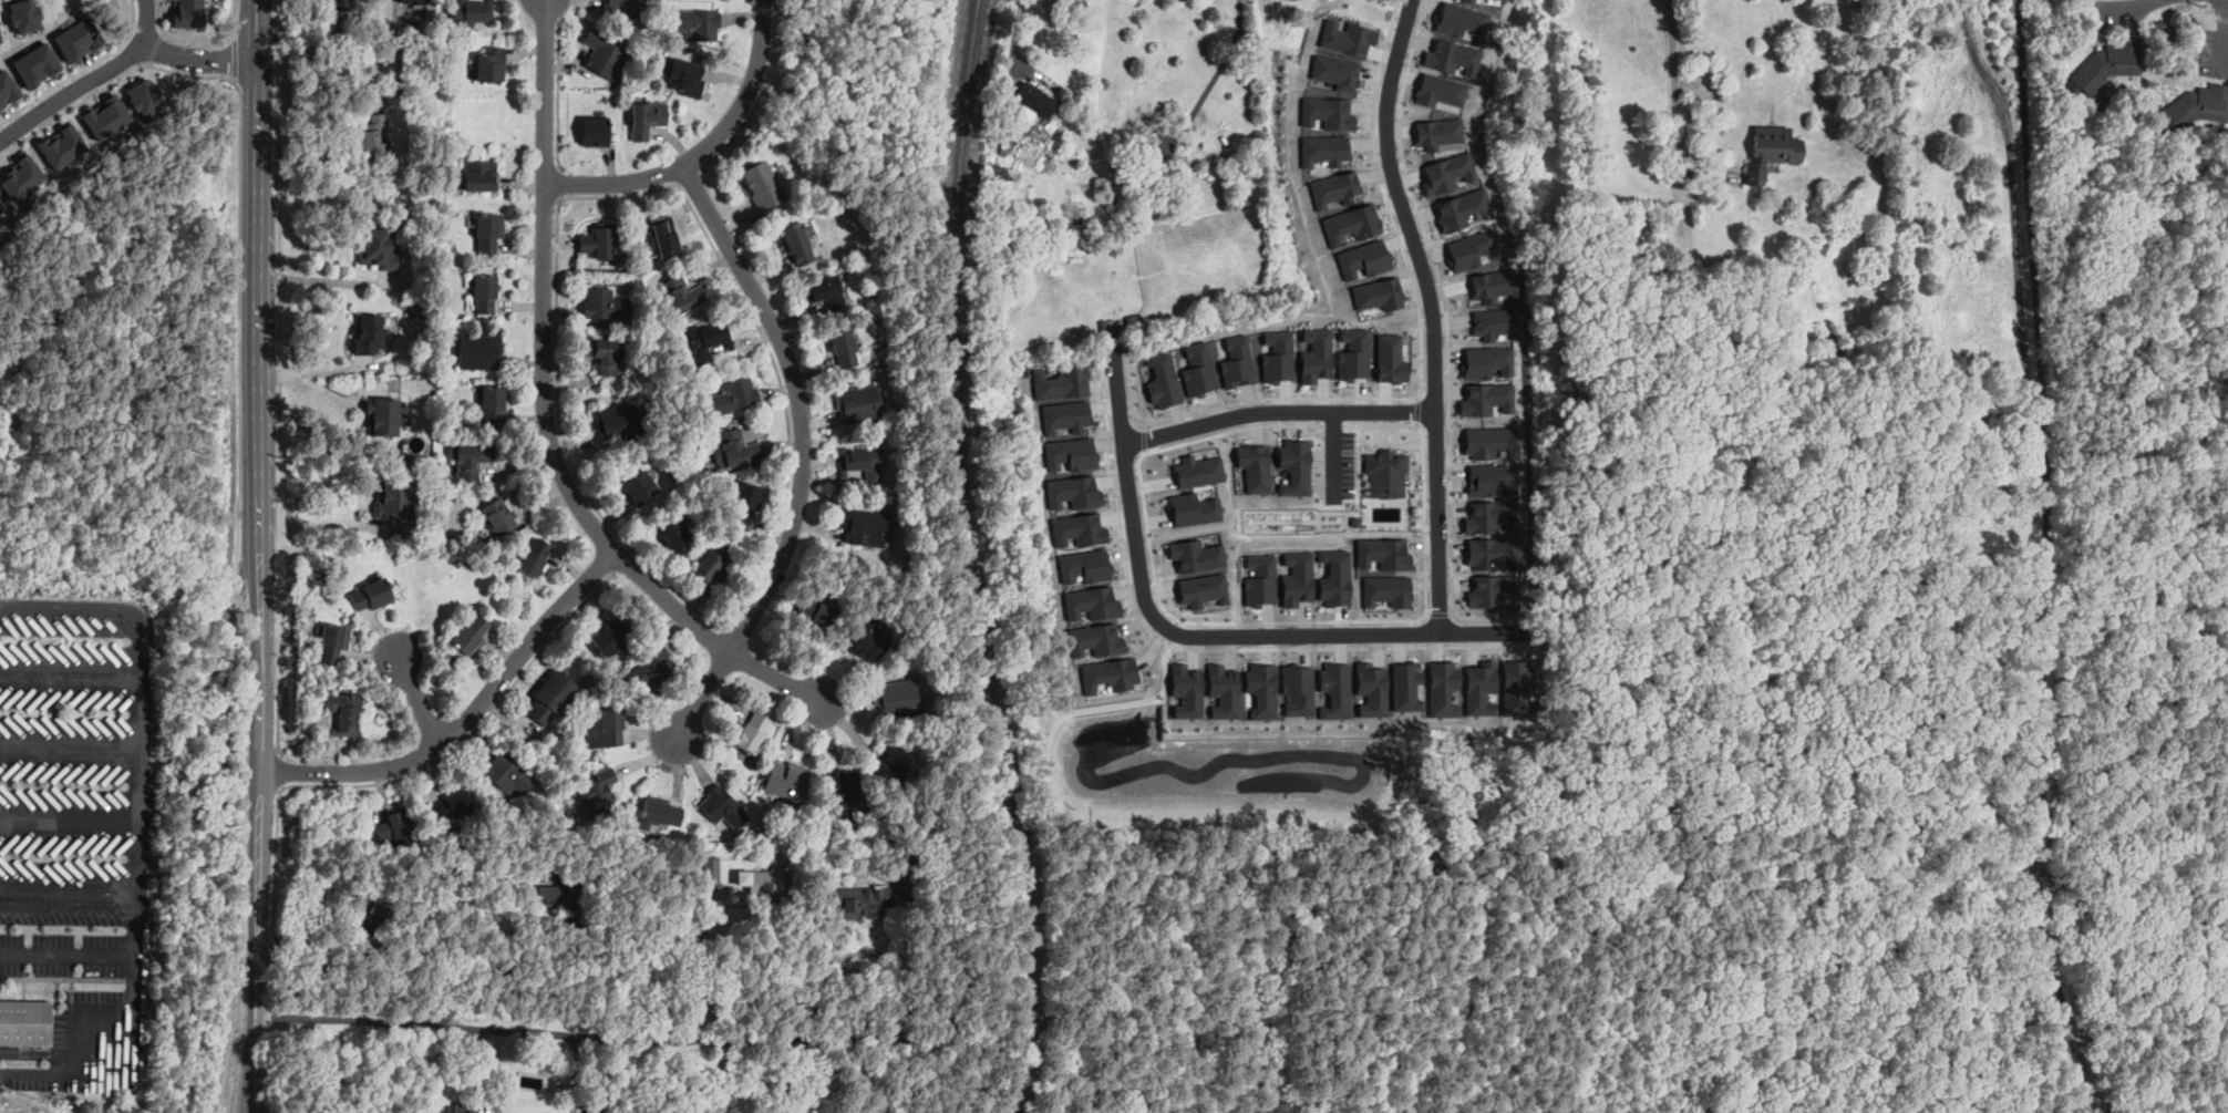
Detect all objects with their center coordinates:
building: (414, 1)
building: (1491, 1)
street lamp: (2197, 1)
street lamp: (2200, 4)
building: (341, 6)
road: (2122, 6)
building: (623, 9)
road: (2208, 10)
building: (471, 11)
road: (2185, 11)
building: (190, 13)
building: (27, 14)
road: (234, 17)
building: (1456, 17)
building: (697, 24)
road: (259, 30)
street lamp: (2129, 30)
road: (163, 33)
road: (234, 34)
building: (1349, 37)
building: (1, 38)
building: (79, 39)
road: (2222, 39)
road: (183, 40)
road: (155, 48)
building: (419, 48)
building: (602, 53)
building: (1446, 55)
road: (236, 56)
road: (1011, 56)
road: (198, 58)
street lamp: (2194, 62)
building: (39, 63)
road: (151, 63)
building: (491, 64)
building: (2107, 66)
road: (80, 70)
building: (1332, 70)
building: (687, 78)
road: (2211, 78)
road: (2217, 78)
road: (235, 79)
road: (90, 81)
road: (115, 81)
road: (1207, 84)
building: (7, 87)
building: (1437, 90)
building: (147, 94)
road: (761, 95)
building: (1035, 100)
building: (1322, 110)
building: (2193, 110)
building: (113, 115)
road: (1674, 115)
building: (647, 118)
building: (1815, 122)
building: (1436, 131)
building: (596, 132)
building: (370, 142)
building: (1003, 142)
building: (65, 144)
road: (705, 148)
building: (1323, 150)
building: (1772, 152)
building: (1003, 162)
building: (1240, 166)
building: (1447, 169)
building: (25, 174)
building: (479, 177)
road: (689, 177)
building: (1147, 178)
building: (283, 179)
building: (1329, 185)
building: (763, 186)
building: (1234, 195)
road: (2014, 200)
building: (3, 208)
building: (1459, 208)
building: (1348, 217)
building: (488, 233)
building: (661, 239)
building: (1075, 239)
building: (599, 241)
building: (796, 245)
building: (379, 247)
building: (1474, 247)
building: (1358, 256)
road: (313, 278)
building: (1487, 285)
building: (1767, 286)
building: (1373, 289)
building: (824, 292)
building: (484, 293)
building: (683, 295)
road: (259, 300)
building: (1721, 301)
building: (606, 305)
building: (1771, 306)
road: (1433, 310)
building: (1494, 320)
building: (1108, 328)
building: (368, 333)
building: (708, 340)
road: (2167, 342)
road: (766, 343)
building: (1829, 344)
building: (844, 347)
building: (1312, 349)
building: (1349, 349)
building: (479, 351)
road: (557, 352)
building: (601, 354)
building: (1275, 354)
building: (1386, 355)
building: (1236, 359)
building: (1484, 359)
building: (1197, 371)
building: (1061, 378)
building: (1161, 379)
building: (1483, 395)
building: (734, 396)
park: (1954, 399)
building: (858, 404)
building: (493, 405)
road: (1280, 412)
road: (544, 413)
building: (1064, 414)
building: (382, 418)
building: (617, 424)
building: (1492, 442)
building: (739, 449)
building: (1069, 449)
road: (804, 453)
building: (470, 460)
building: (862, 462)
parking lot: (1339, 462)
road: (279, 468)
building: (1249, 468)
building: (1293, 468)
building: (1198, 471)
building: (1385, 471)
road: (2000, 476)
building: (1492, 478)
building: (640, 488)
building: (1073, 488)
building: (394, 501)
building: (746, 502)
building: (1193, 508)
building: (1756, 512)
building: (1492, 516)
building: (499, 517)
road: (319, 522)
building: (865, 527)
building: (1080, 528)
building: (673, 535)
building: (1591, 543)
building: (1575, 545)
building: (1192, 553)
building: (1494, 553)
building: (1384, 554)
building: (534, 558)
railway: (970, 559)
road: (2044, 560)
building: (714, 565)
building: (1084, 565)
building: (1293, 576)
building: (1332, 576)
building: (1259, 577)
building: (1201, 589)
building: (1493, 589)
building: (1388, 590)
building: (371, 596)
building: (1091, 601)
road: (229, 604)
road: (68, 606)
building: (816, 611)
road: (1206, 633)
building: (471, 636)
building: (1095, 637)
building: (610, 638)
building: (866, 638)
building: (332, 643)
road: (136, 647)
building: (652, 668)
building: (1112, 671)
building: (1185, 686)
building: (1223, 686)
building: (1407, 686)
building: (1261, 687)
building: (1481, 687)
building: (1516, 687)
building: (1444, 688)
building: (1298, 689)
building: (1331, 689)
building: (1372, 689)
building: (553, 698)
building: (897, 699)
road: (420, 700)
building: (344, 713)
road: (486, 717)
road: (467, 718)
building: (605, 728)
building: (752, 733)
road: (68, 744)
building: (894, 765)
road: (280, 769)
building: (508, 774)
road: (1058, 774)
building: (785, 782)
building: (842, 790)
building: (598, 793)
road: (1549, 795)
road: (260, 797)
building: (452, 806)
building: (539, 806)
building: (723, 807)
building: (658, 813)
road: (68, 820)
road: (136, 823)
building: (398, 828)
building: (763, 834)
parking lot: (78, 862)
building: (712, 870)
building: (764, 883)
road: (2033, 885)
building: (561, 890)
road: (69, 893)
building: (863, 900)
building: (369, 910)
road: (2179, 920)
road: (1680, 929)
road: (274, 948)
road: (823, 960)
road: (1142, 961)
road: (703, 963)
road: (897, 966)
road: (516, 982)
road: (1293, 1004)
building: (27, 1023)
road: (596, 1032)
road: (93, 1044)
road: (1324, 1063)
road: (486, 1071)
road: (575, 1072)
road: (720, 1073)
road: (255, 1084)
building: (461, 1107)
building: (595, 1109)

